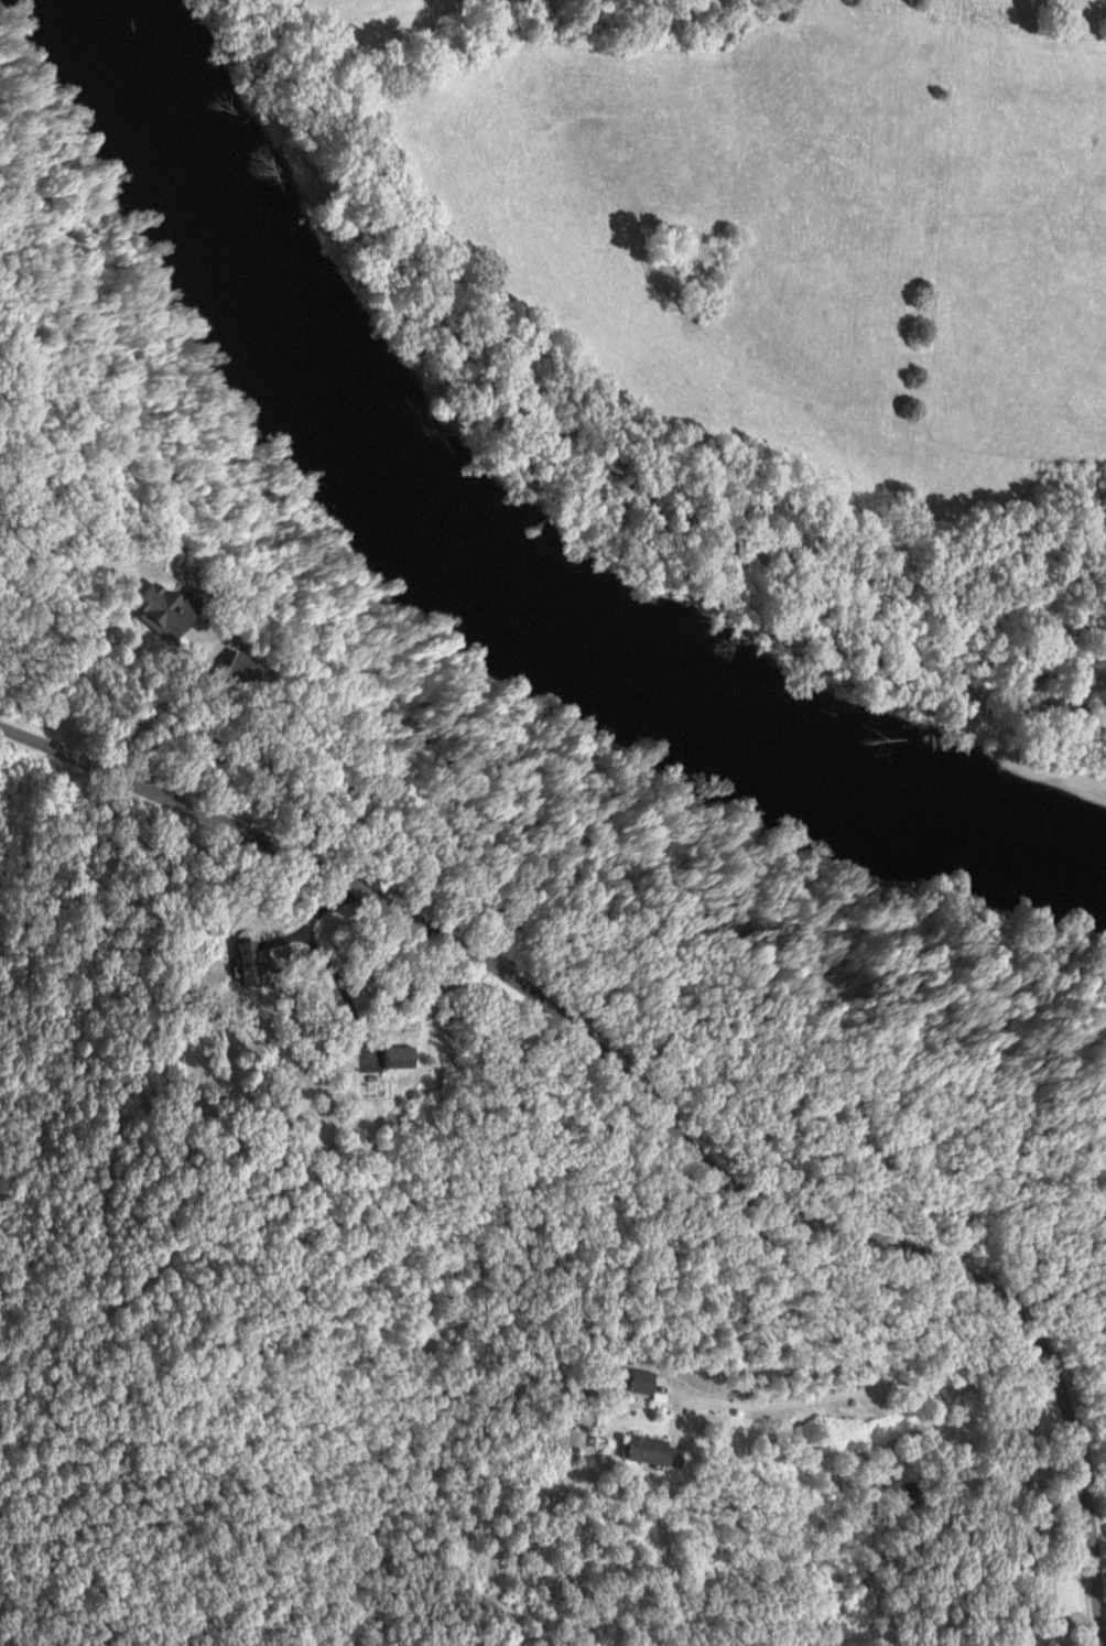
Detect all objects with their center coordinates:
river: (460, 604)
building: (170, 610)
building: (242, 670)
road: (144, 681)
building: (250, 963)
building: (411, 1057)
road: (654, 1114)
building: (644, 1382)
building: (655, 1452)

